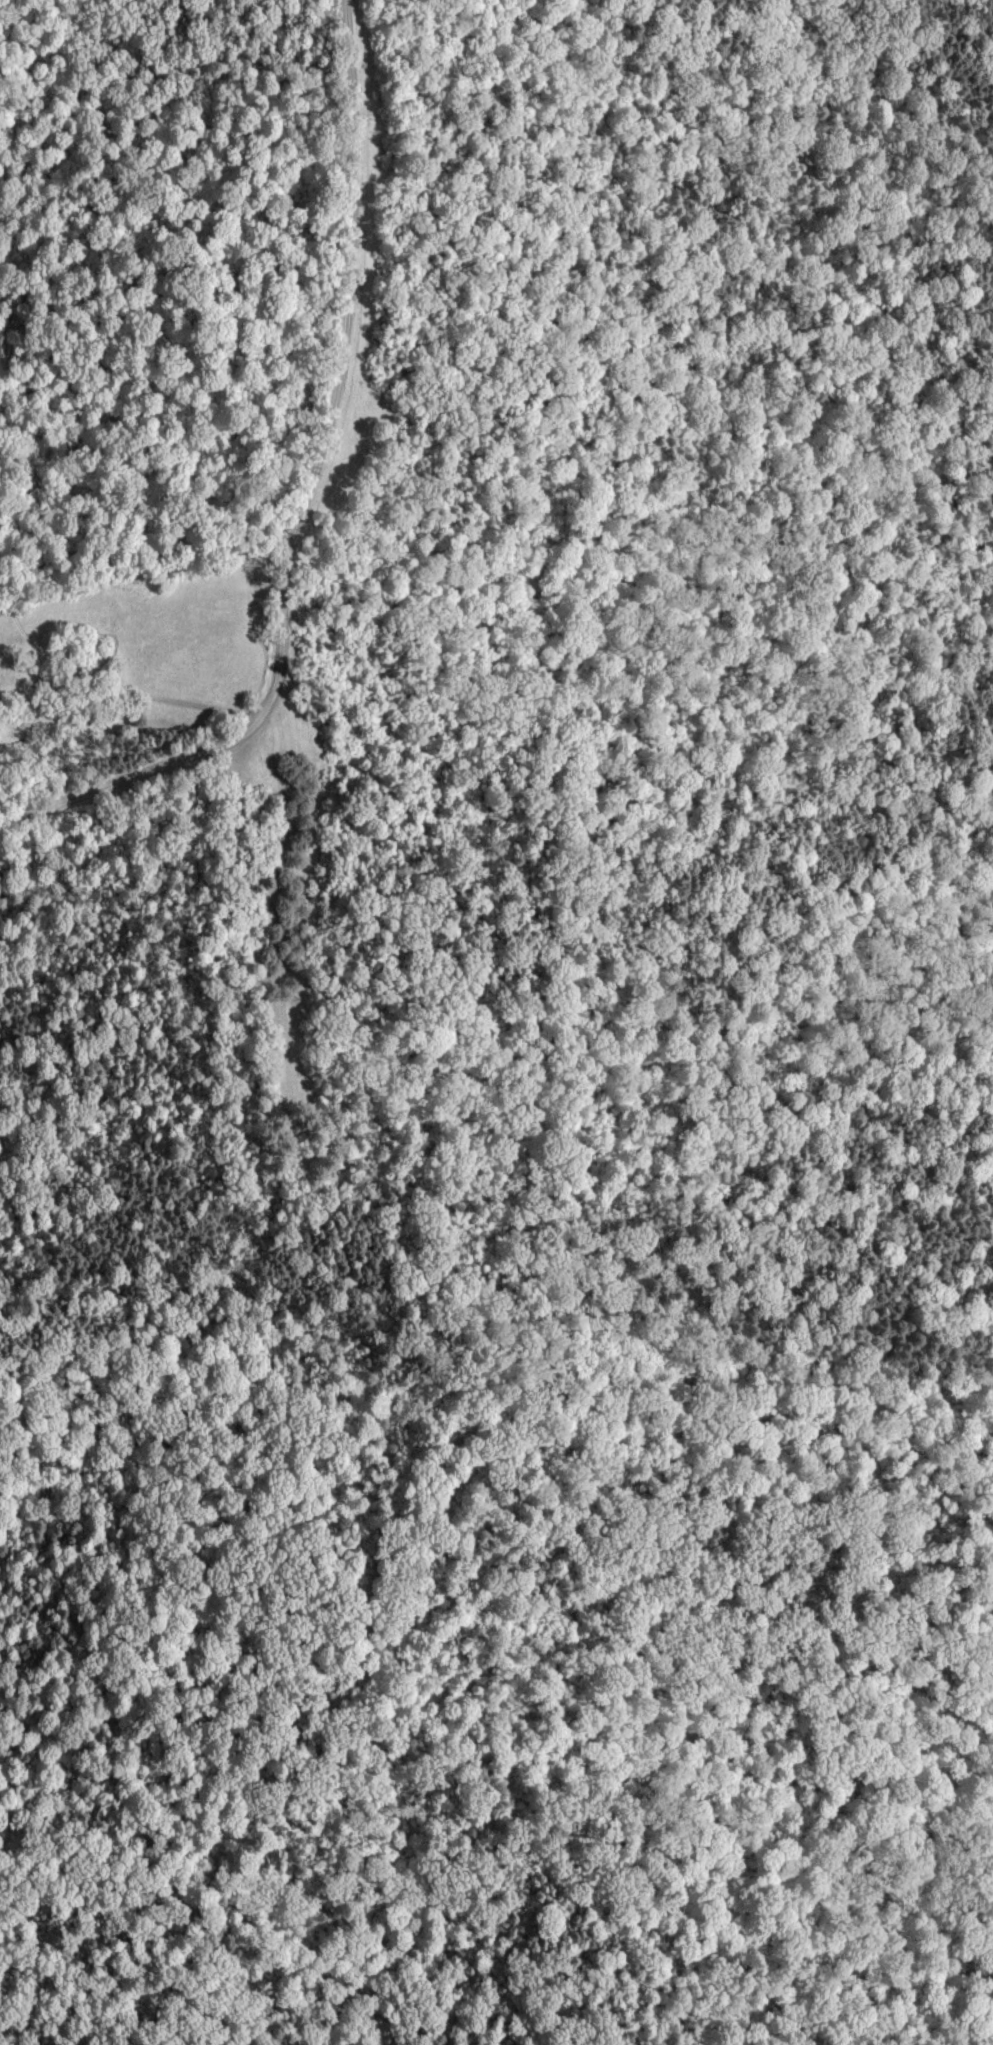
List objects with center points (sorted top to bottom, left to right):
road: (310, 497)

